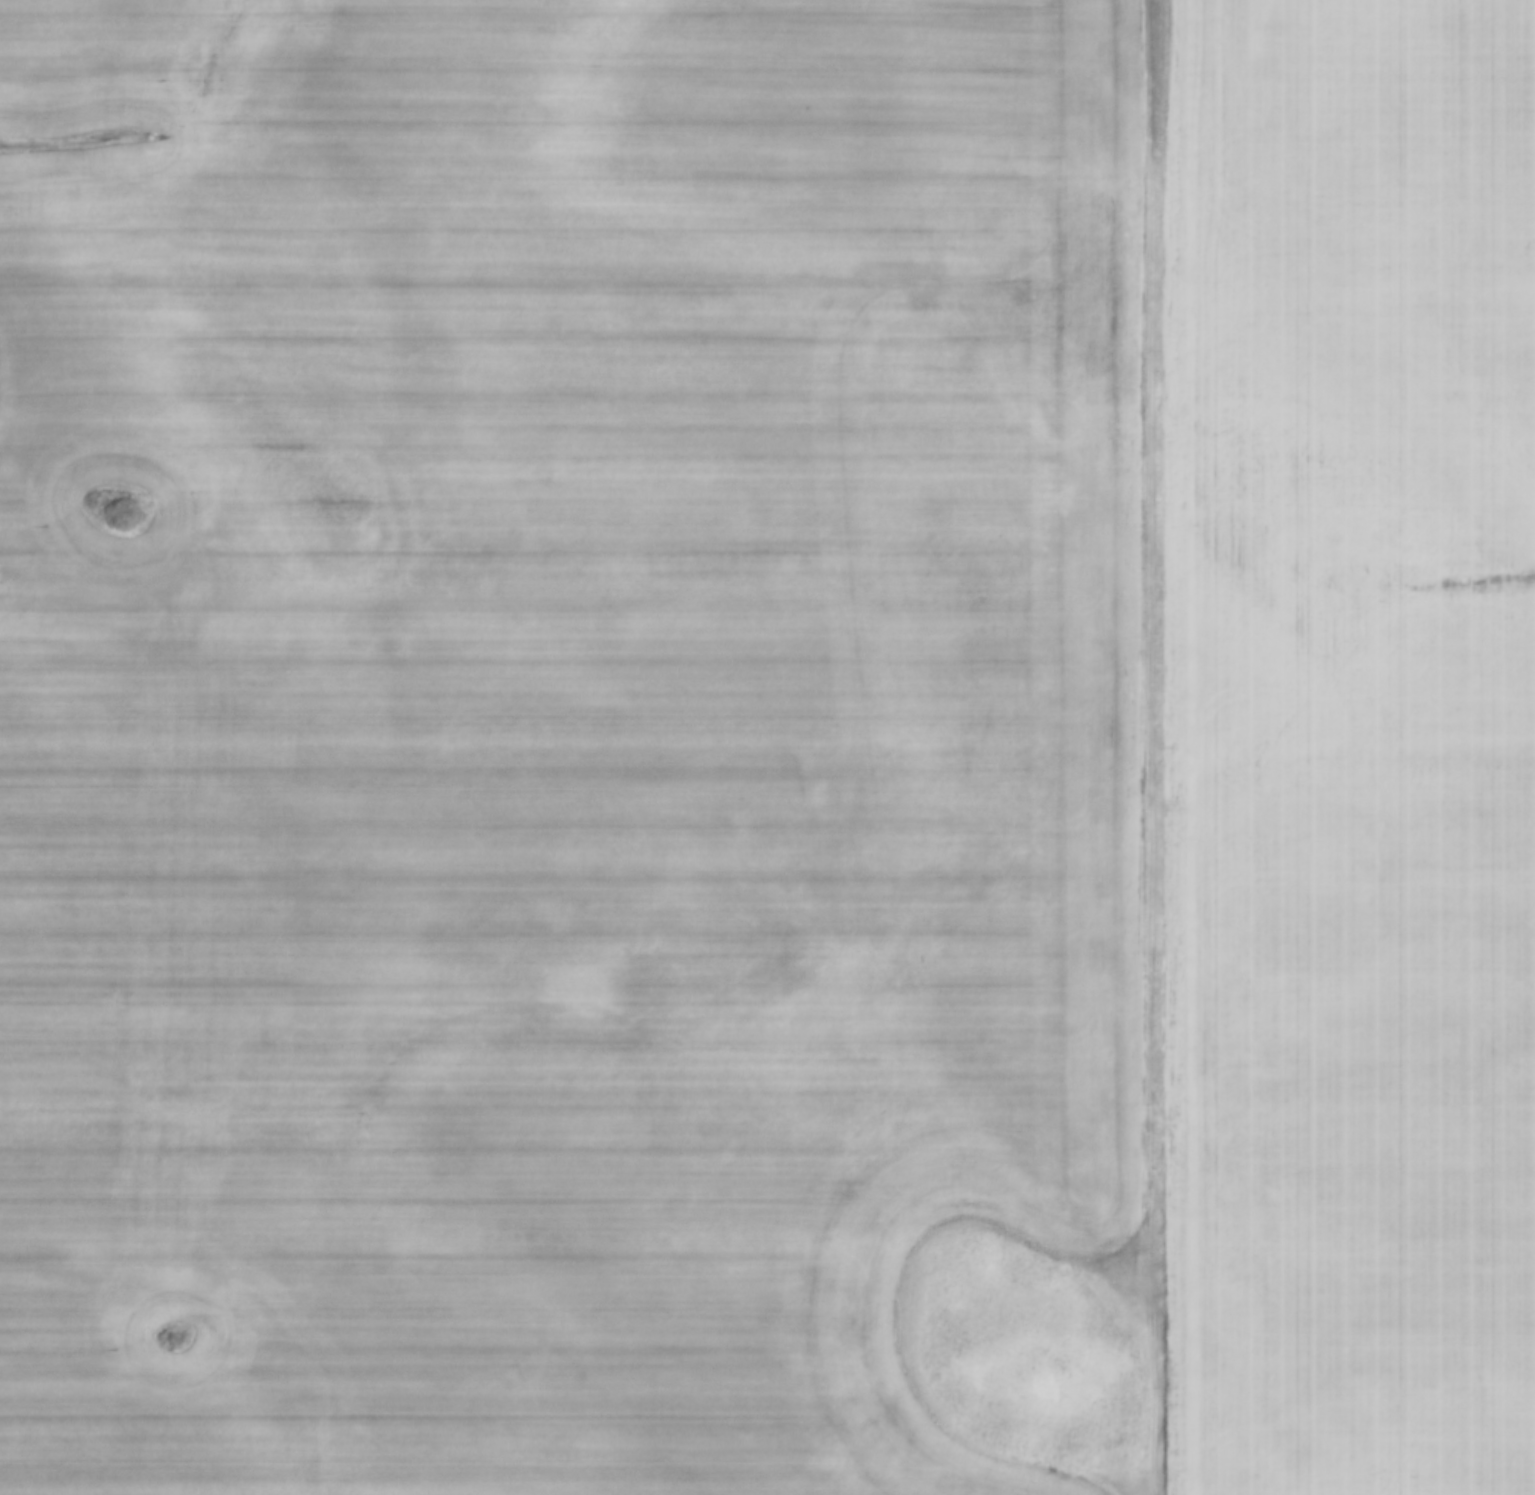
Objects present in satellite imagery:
road: (1157, 747)

